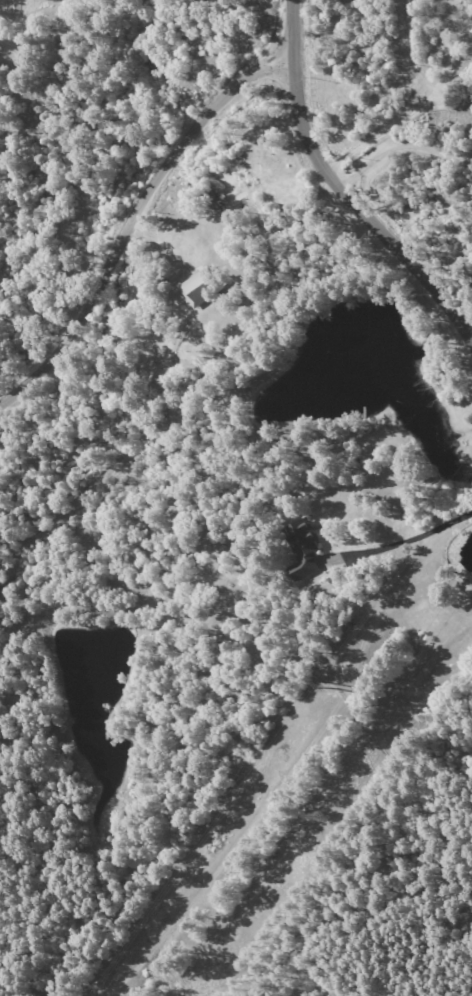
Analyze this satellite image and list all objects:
road: (381, 73)
road: (399, 149)
road: (337, 188)
road: (140, 220)
building: (201, 286)
road: (402, 543)
building: (303, 548)
power tower: (324, 685)
power tower: (323, 818)

